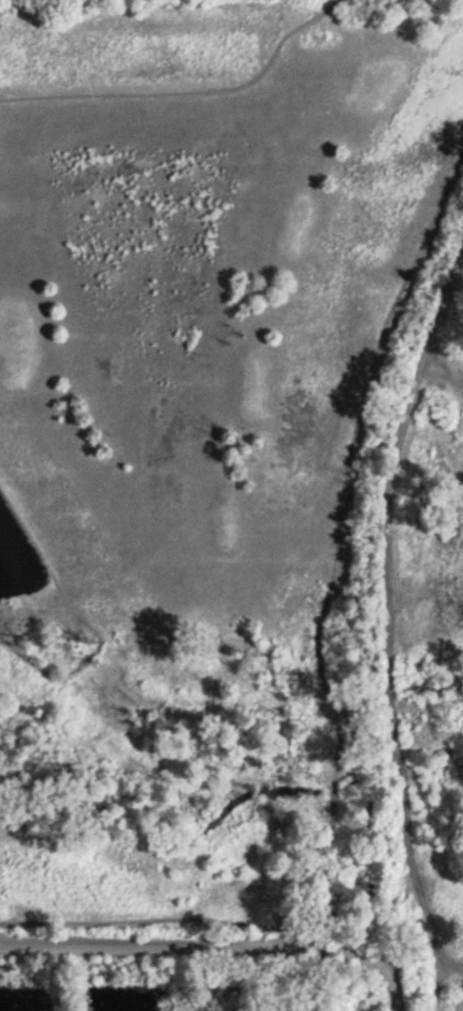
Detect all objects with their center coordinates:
road: (188, 91)
road: (445, 283)
park: (206, 392)
road: (345, 479)
road: (43, 555)
road: (12, 645)
road: (387, 648)
park: (190, 916)
road: (142, 921)
road: (221, 936)
road: (448, 969)
road: (329, 973)

